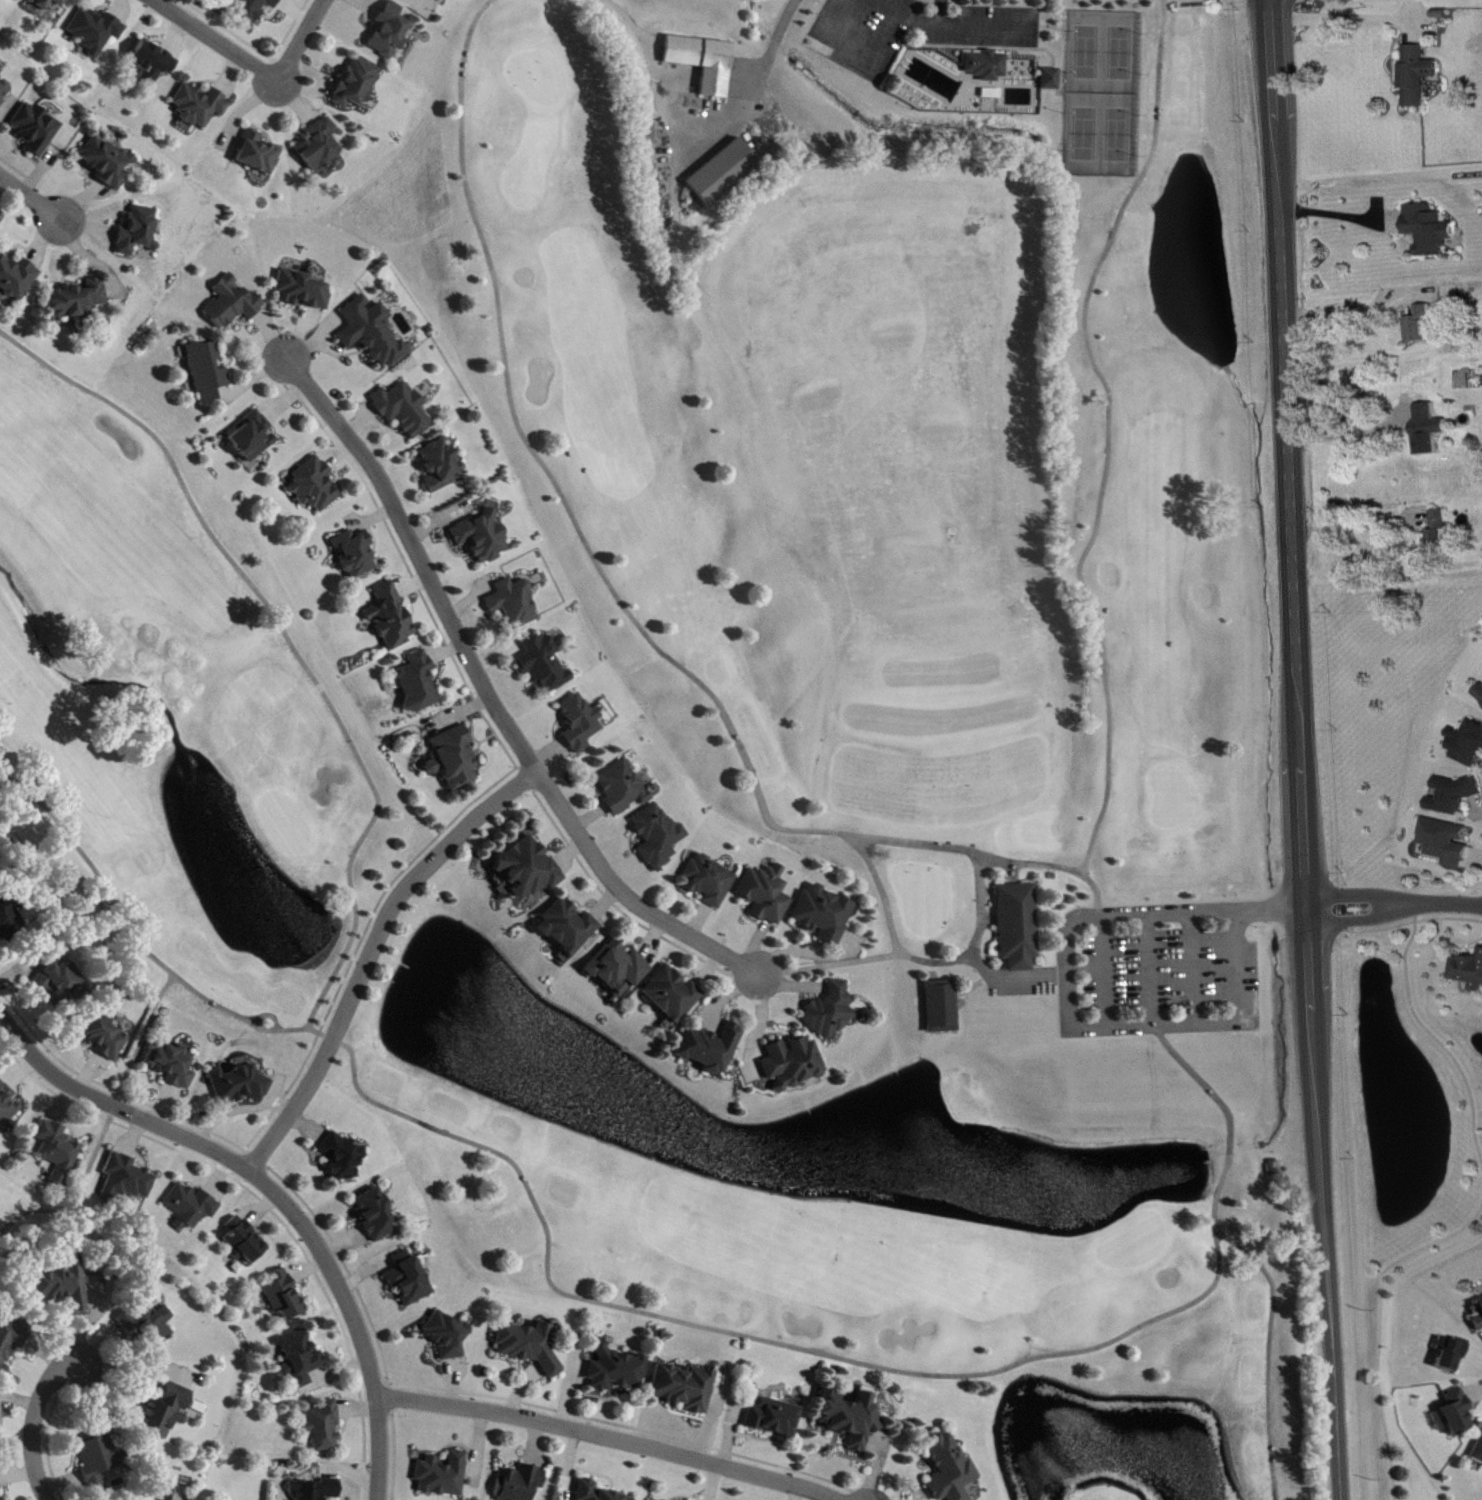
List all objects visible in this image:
road: (1171, 3)
building: (44, 5)
building: (255, 9)
parking lot: (912, 30)
building: (96, 31)
building: (390, 31)
building: (703, 62)
building: (985, 62)
building: (153, 63)
road: (258, 68)
building: (1050, 76)
building: (1421, 76)
road: (1162, 79)
building: (357, 84)
road: (752, 84)
building: (4, 92)
building: (200, 106)
building: (36, 129)
building: (320, 146)
building: (259, 154)
building: (108, 163)
building: (723, 172)
road: (31, 195)
road: (1330, 214)
building: (1432, 230)
building: (139, 231)
building: (18, 278)
building: (303, 291)
building: (1452, 297)
building: (78, 300)
building: (233, 304)
road: (1340, 309)
building: (1421, 325)
building: (373, 332)
building: (208, 371)
building: (404, 410)
building: (1431, 430)
road: (1349, 432)
building: (254, 437)
building: (441, 465)
building: (315, 486)
road: (1354, 526)
building: (1444, 533)
building: (483, 537)
building: (356, 553)
road: (1089, 556)
road: (606, 575)
building: (515, 603)
building: (391, 619)
road: (290, 637)
building: (544, 665)
building: (419, 682)
park: (785, 689)
building: (1481, 694)
road: (491, 697)
building: (580, 723)
building: (1470, 745)
road: (1303, 749)
building: (454, 758)
building: (623, 788)
building: (1457, 796)
building: (658, 837)
building: (1450, 843)
building: (530, 869)
building: (709, 882)
road: (1095, 883)
building: (766, 894)
road: (1396, 902)
building: (824, 915)
building: (9, 920)
building: (1020, 926)
building: (569, 927)
road: (126, 936)
road: (373, 953)
building: (620, 968)
building: (1470, 971)
building: (63, 984)
road: (1063, 989)
building: (672, 995)
building: (943, 1007)
building: (831, 1012)
road: (1431, 1030)
road: (324, 1035)
building: (105, 1036)
road: (146, 1041)
building: (711, 1049)
building: (792, 1063)
building: (172, 1065)
building: (240, 1086)
building: (7, 1106)
building: (59, 1151)
building: (343, 1157)
building: (128, 1179)
road: (277, 1191)
road: (85, 1202)
building: (192, 1207)
park: (22, 1211)
building: (376, 1216)
building: (245, 1242)
building: (408, 1279)
building: (65, 1285)
building: (285, 1296)
building: (1477, 1313)
road: (1376, 1325)
building: (449, 1337)
building: (12, 1342)
building: (529, 1347)
road: (1274, 1354)
building: (1452, 1354)
building: (301, 1361)
road: (850, 1365)
building: (616, 1371)
building: (683, 1388)
building: (166, 1412)
building: (1458, 1413)
building: (774, 1418)
building: (850, 1418)
road: (35, 1425)
building: (324, 1427)
road: (611, 1438)
building: (1478, 1453)
building: (100, 1459)
building: (947, 1469)
building: (444, 1476)
building: (521, 1484)
building: (0, 1488)
building: (316, 1490)
building: (596, 1492)
building: (164, 1494)

